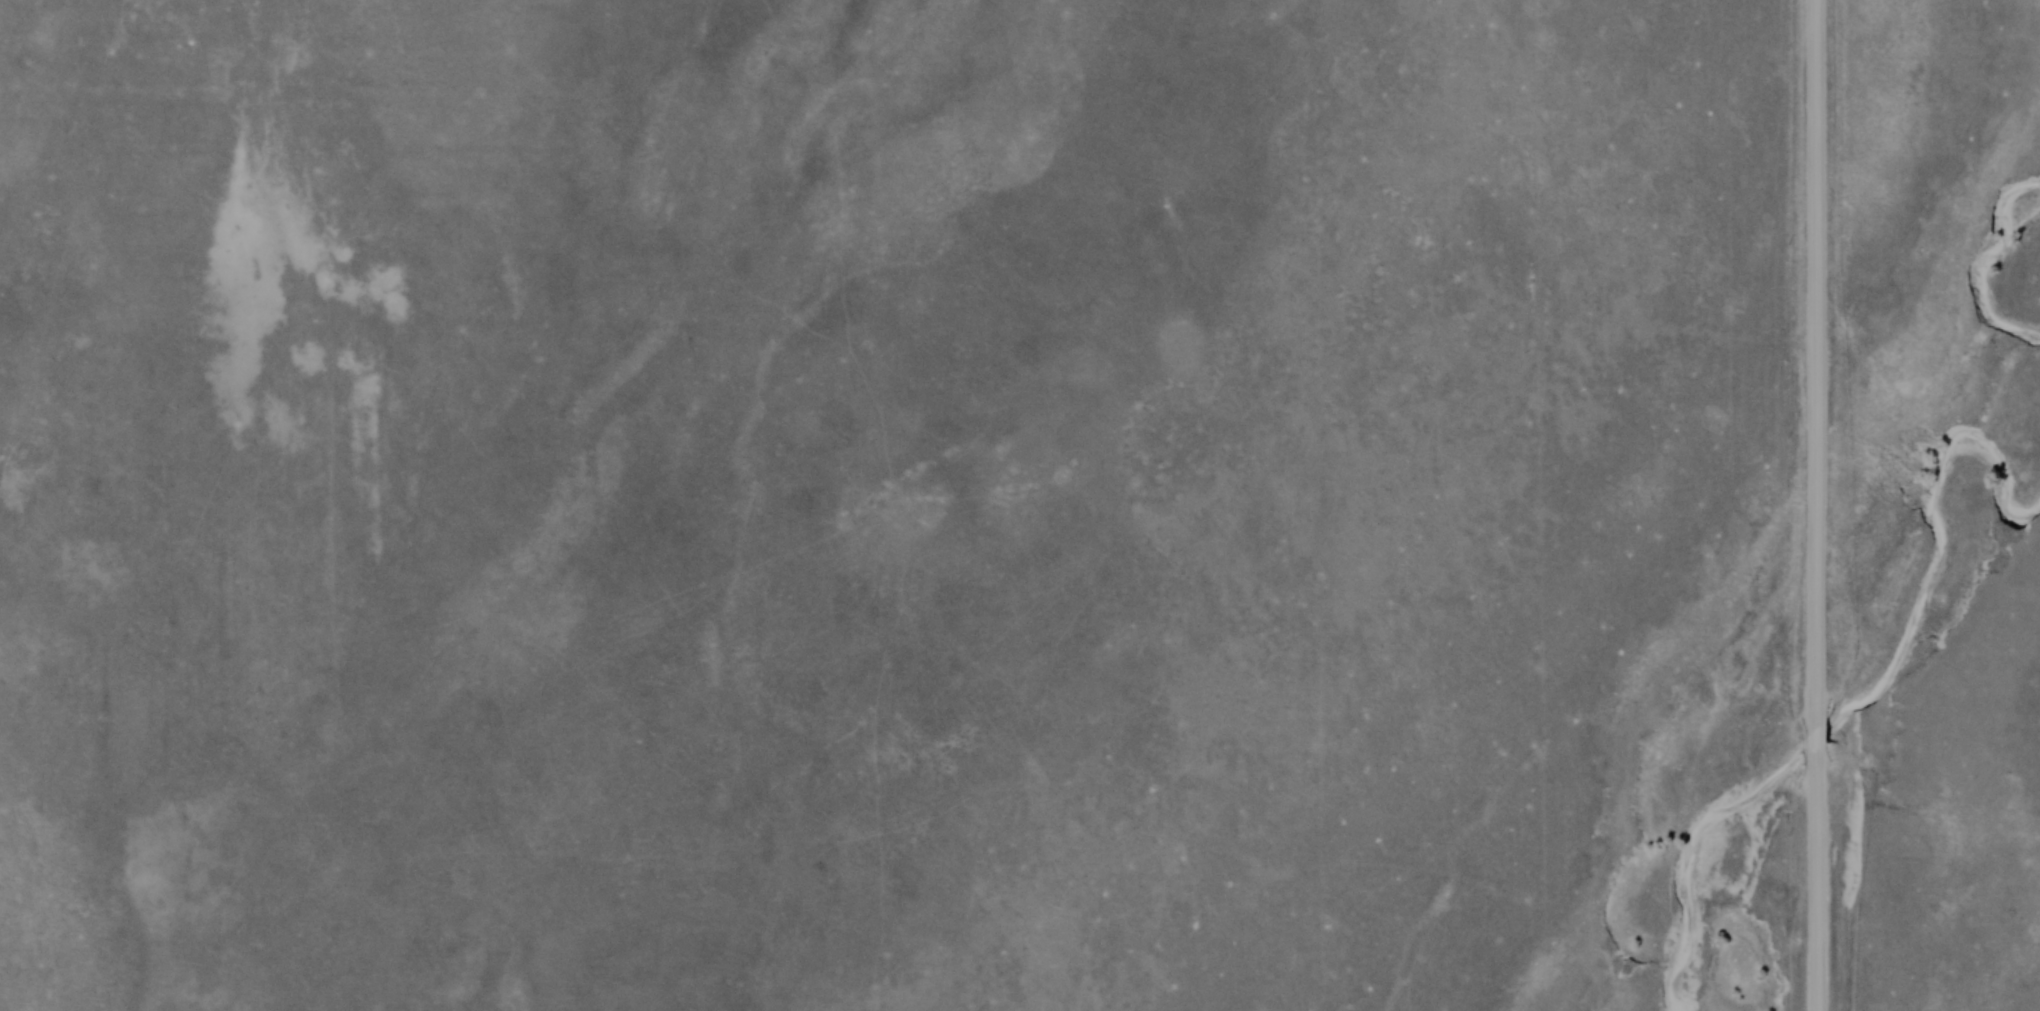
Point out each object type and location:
road: (1818, 505)

